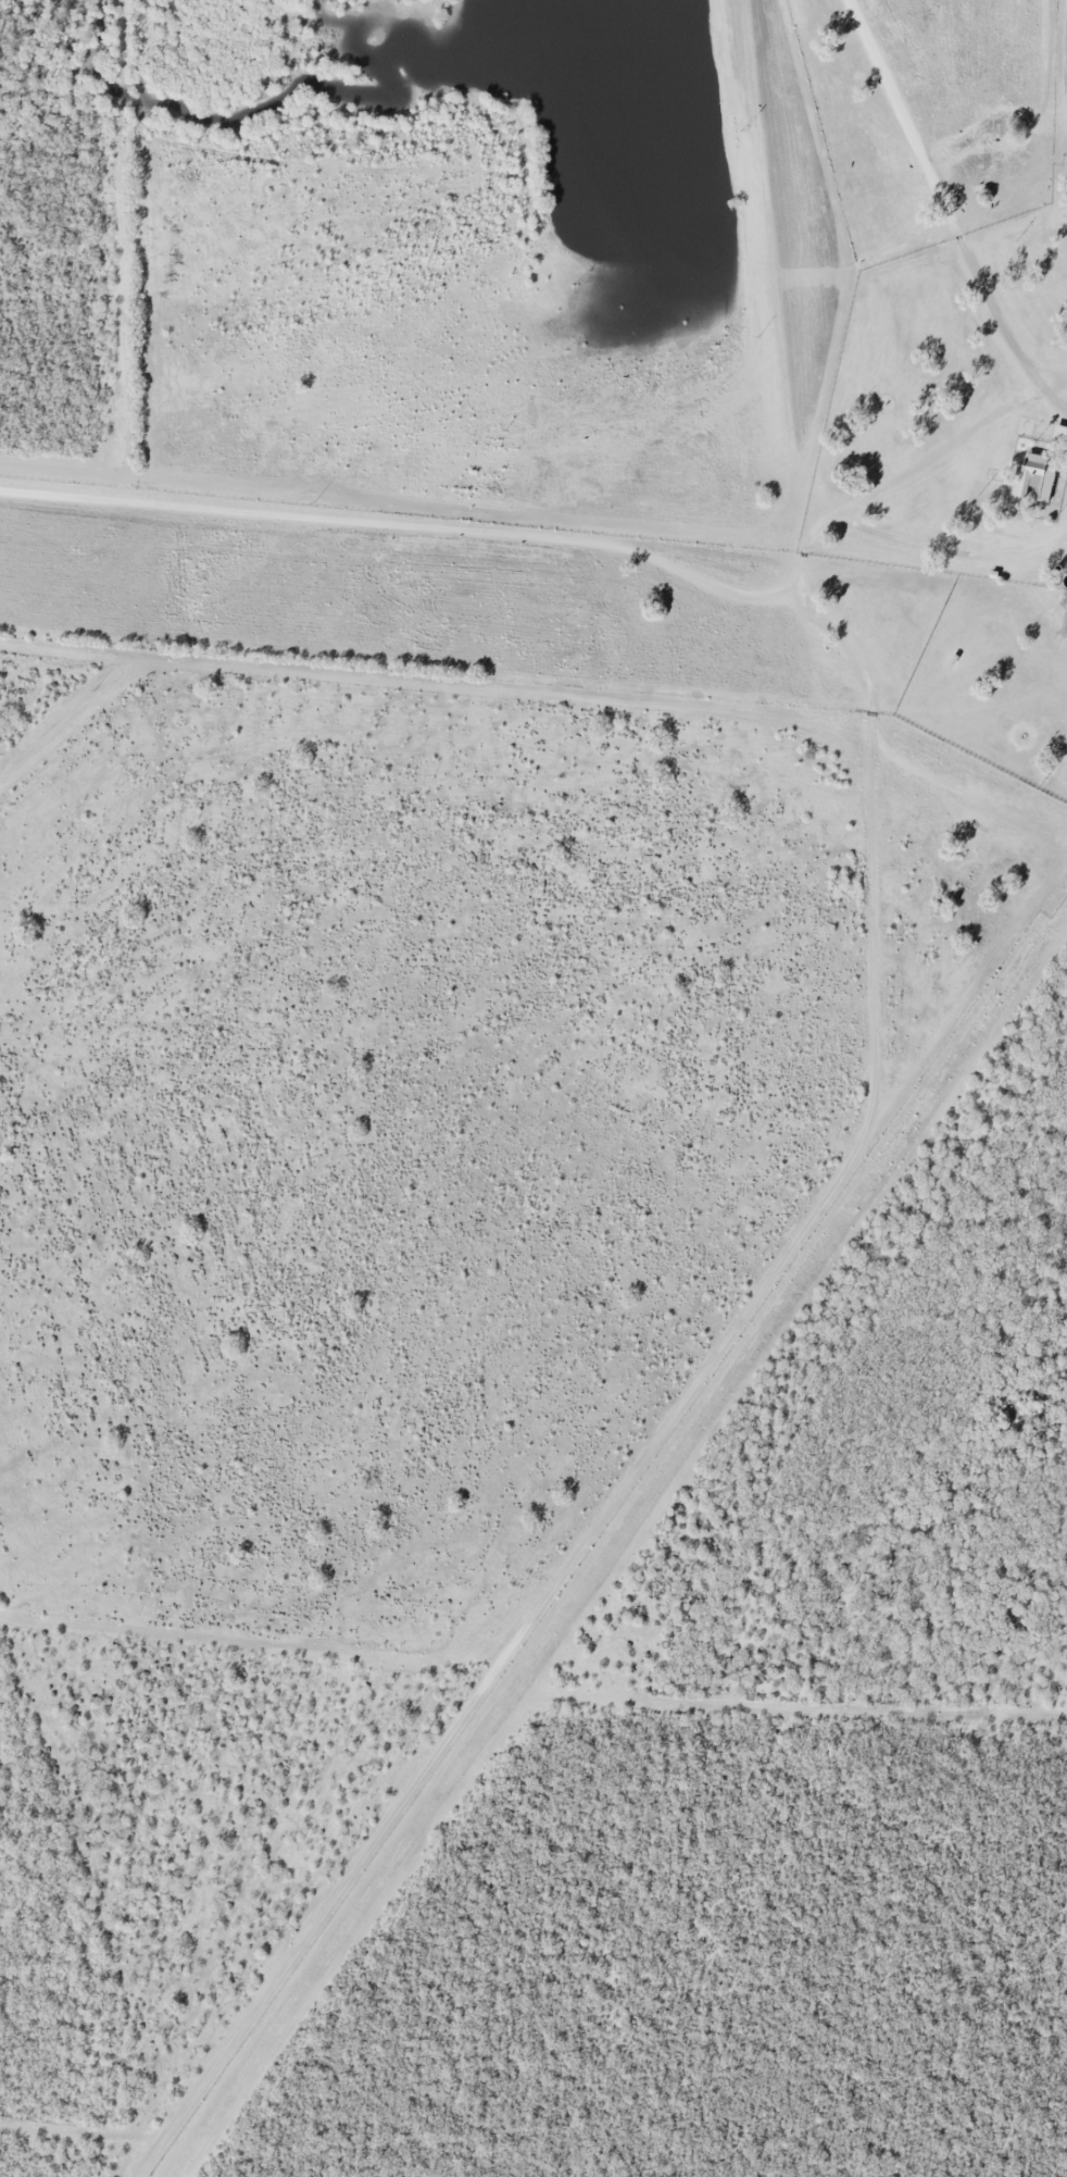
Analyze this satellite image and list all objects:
road: (950, 210)
building: (1034, 475)
road: (567, 537)

